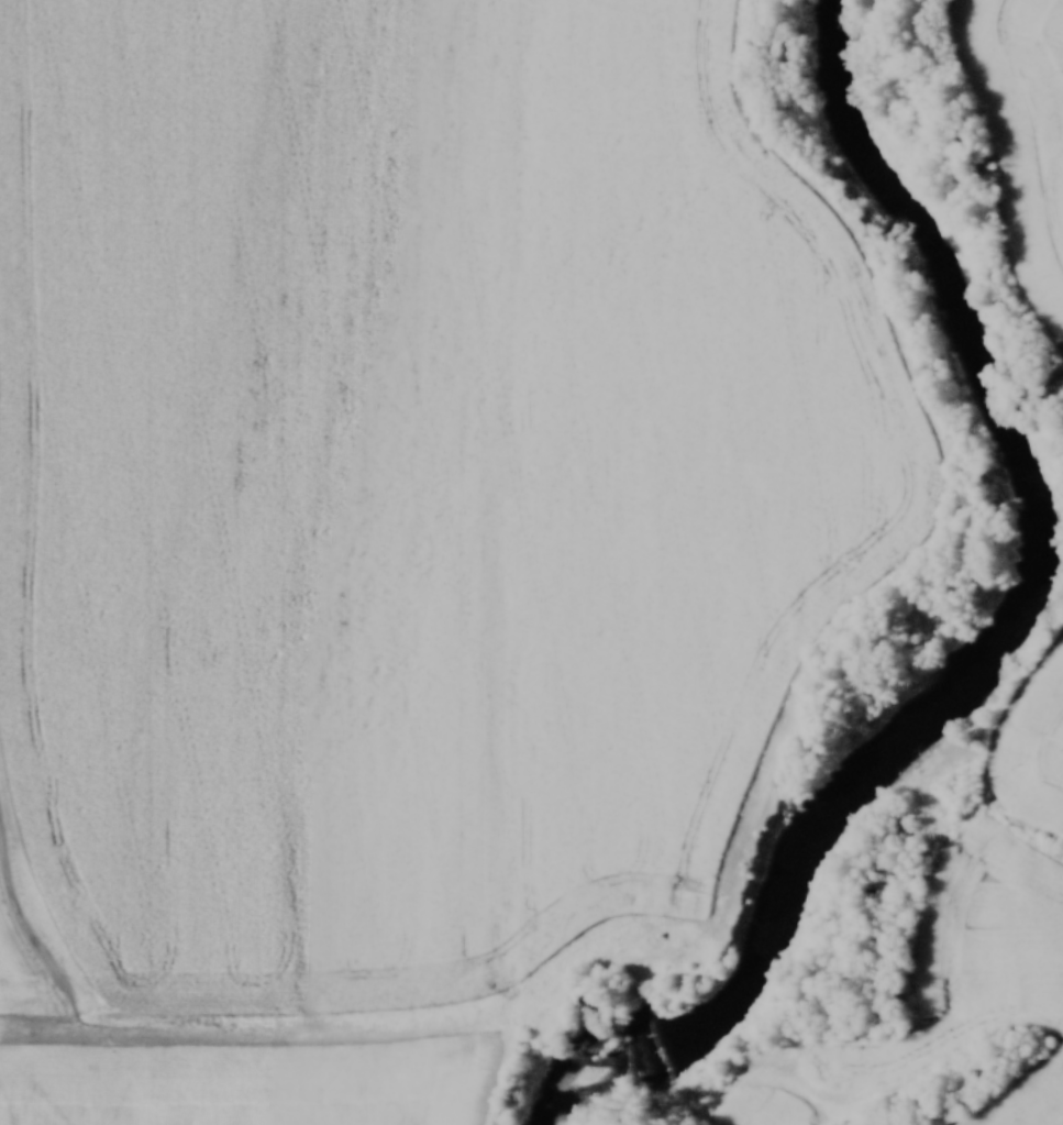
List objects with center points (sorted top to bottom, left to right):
river: (994, 640)

